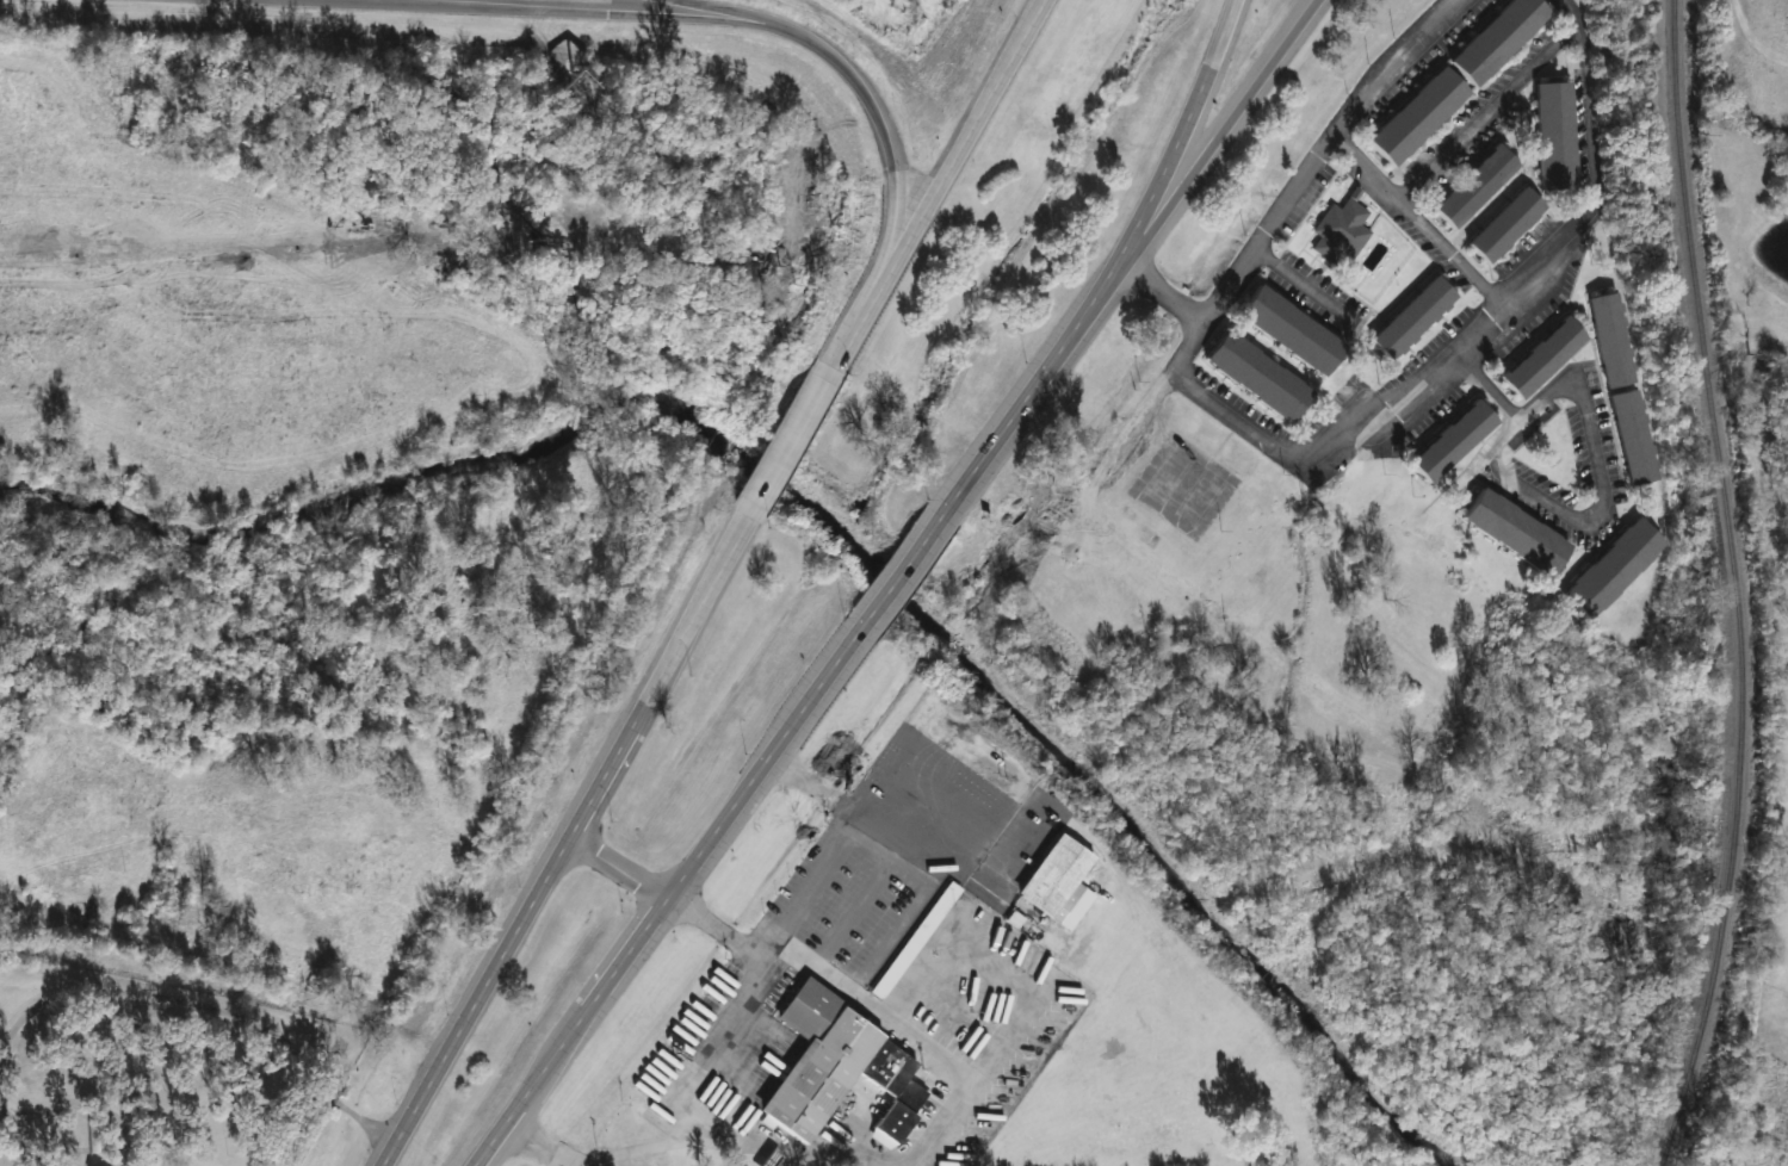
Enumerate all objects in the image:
road: (534, 11)
road: (711, 11)
building: (1501, 39)
road: (1586, 99)
road: (1489, 113)
building: (1421, 116)
road: (1186, 130)
road: (1223, 130)
building: (1559, 137)
road: (887, 143)
road: (1307, 174)
building: (1478, 186)
road: (934, 191)
road: (1416, 225)
building: (1508, 225)
building: (1341, 232)
road: (1294, 277)
road: (1155, 292)
building: (1415, 318)
building: (1293, 331)
building: (1545, 358)
building: (1260, 377)
road: (1033, 384)
road: (1487, 384)
building: (1627, 393)
road: (1394, 403)
building: (1454, 441)
road: (790, 451)
road: (1600, 476)
building: (1518, 533)
road: (902, 569)
building: (1616, 569)
railway: (1734, 585)
road: (574, 843)
road: (620, 872)
building: (1056, 876)
road: (668, 895)
road: (713, 929)
road: (736, 1003)
building: (840, 1067)

